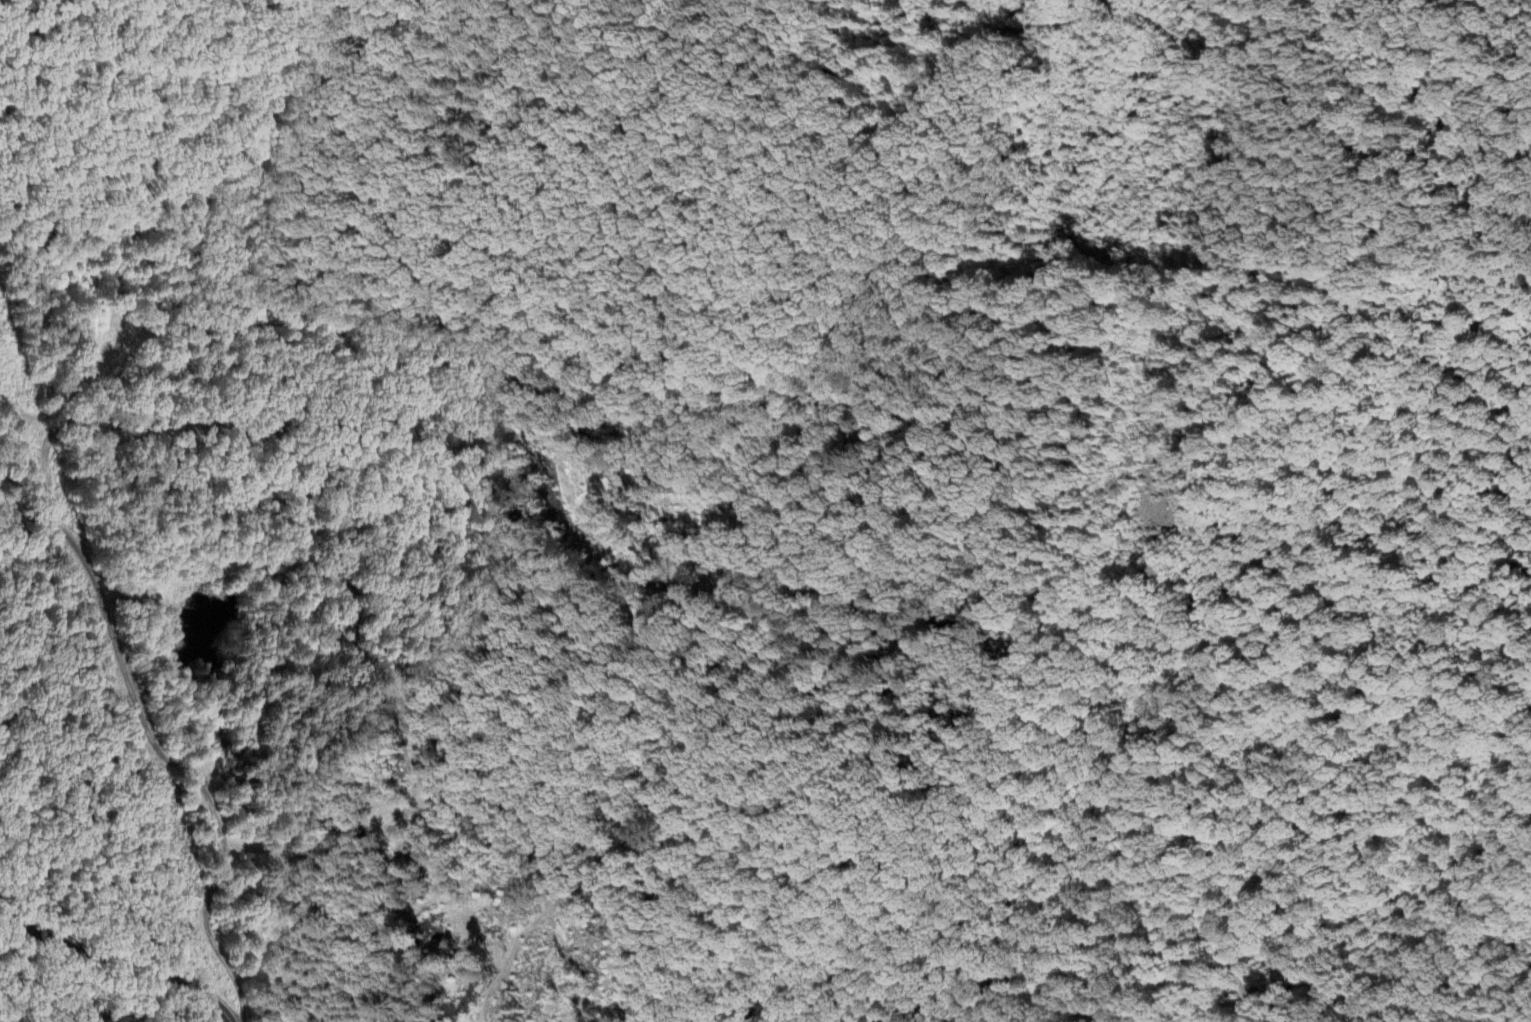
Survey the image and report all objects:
road: (159, 750)
road: (119, 968)

